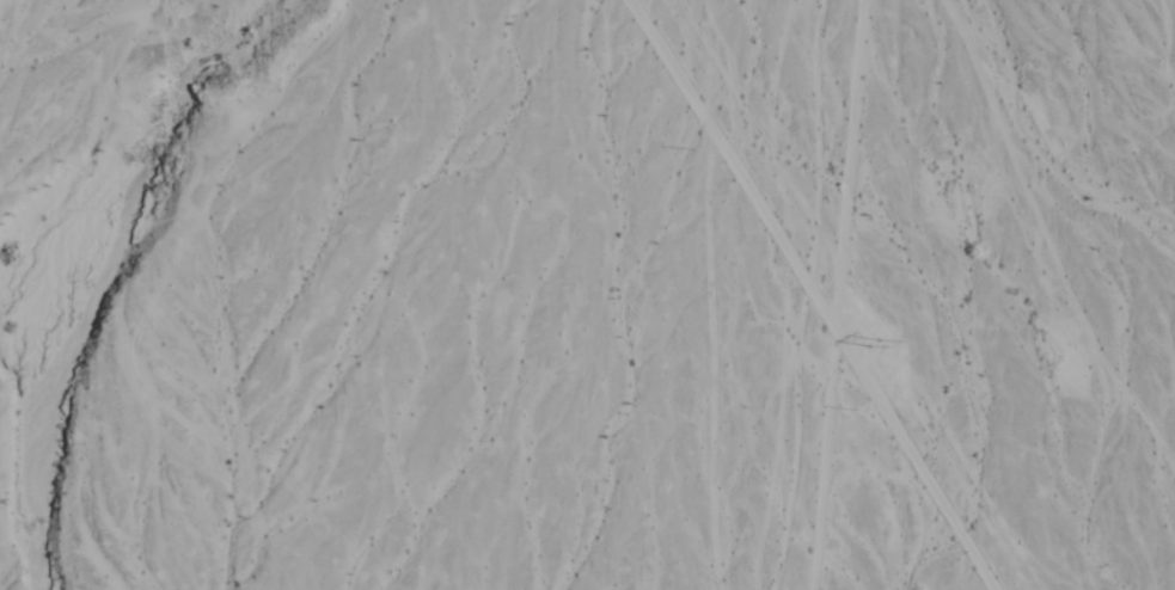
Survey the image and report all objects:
road: (5, 7)
road: (807, 295)
road: (840, 295)
power tower: (873, 344)

